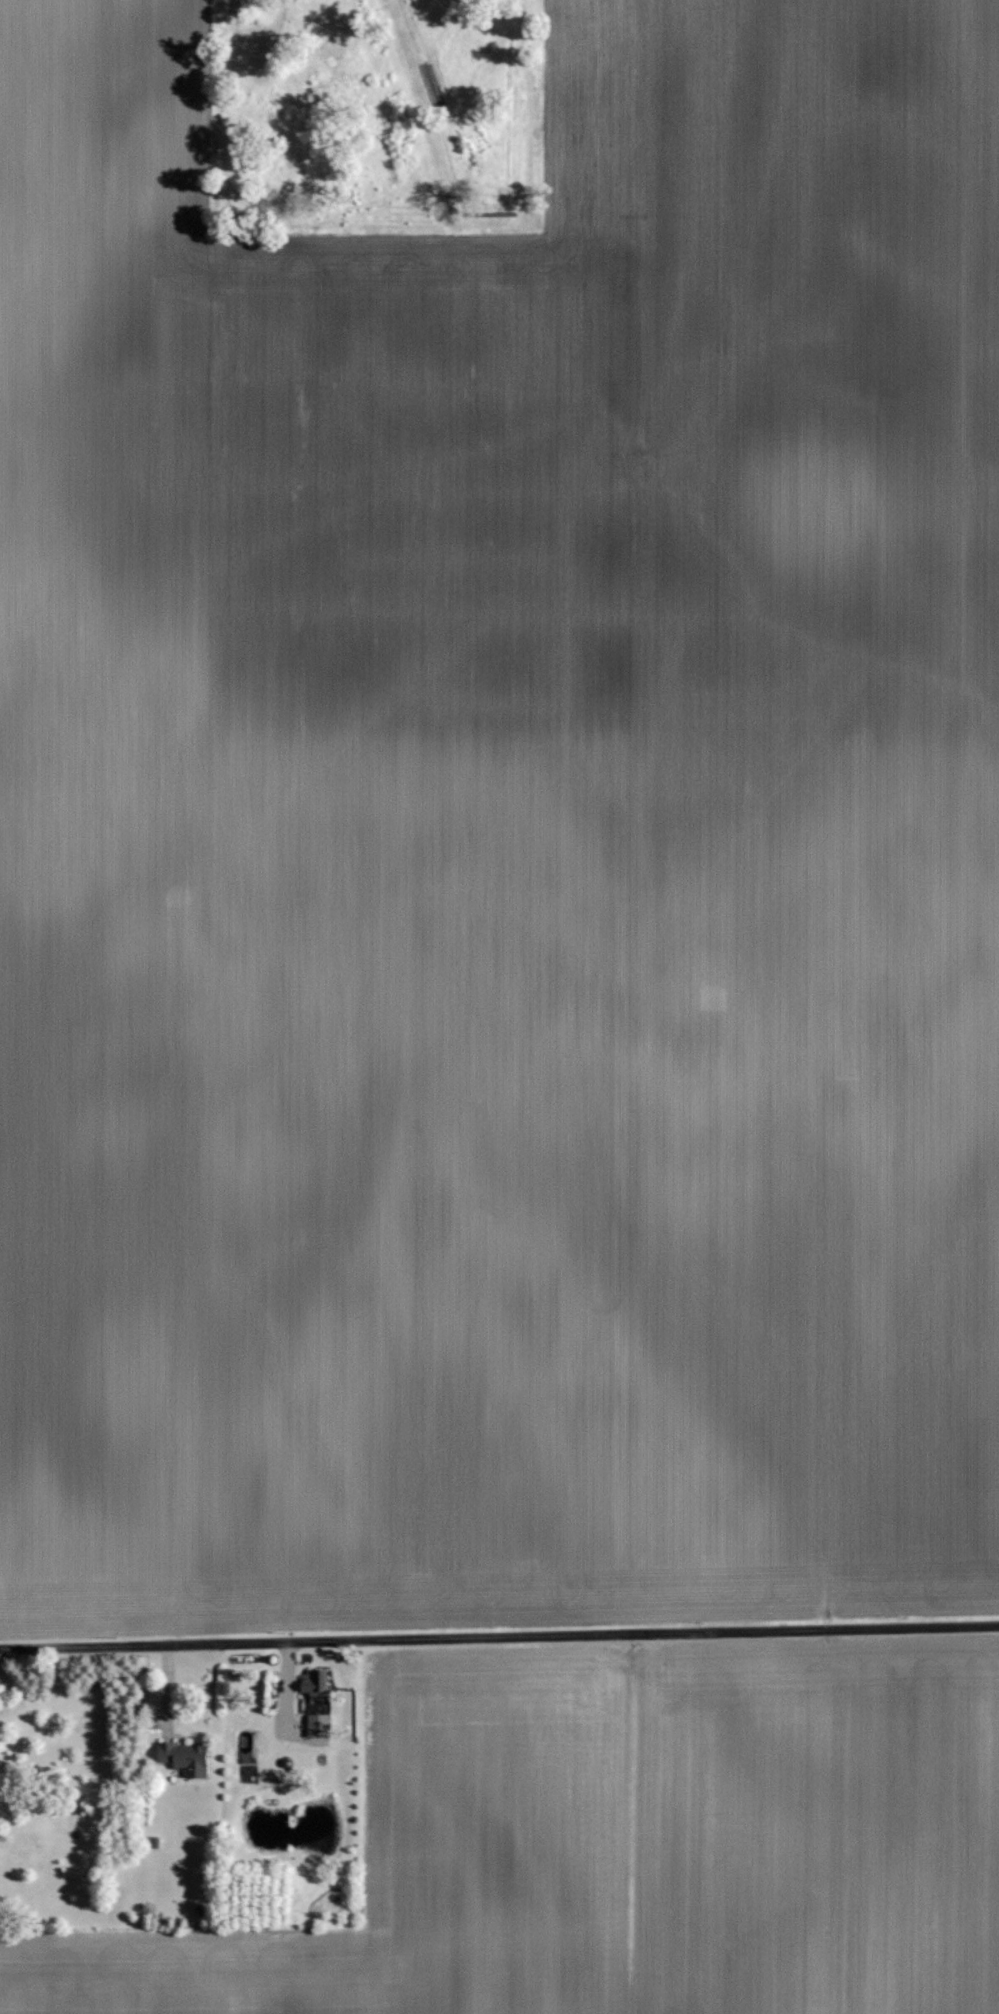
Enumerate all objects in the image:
road: (499, 1615)
building: (315, 1684)
building: (319, 1725)
building: (185, 1757)

